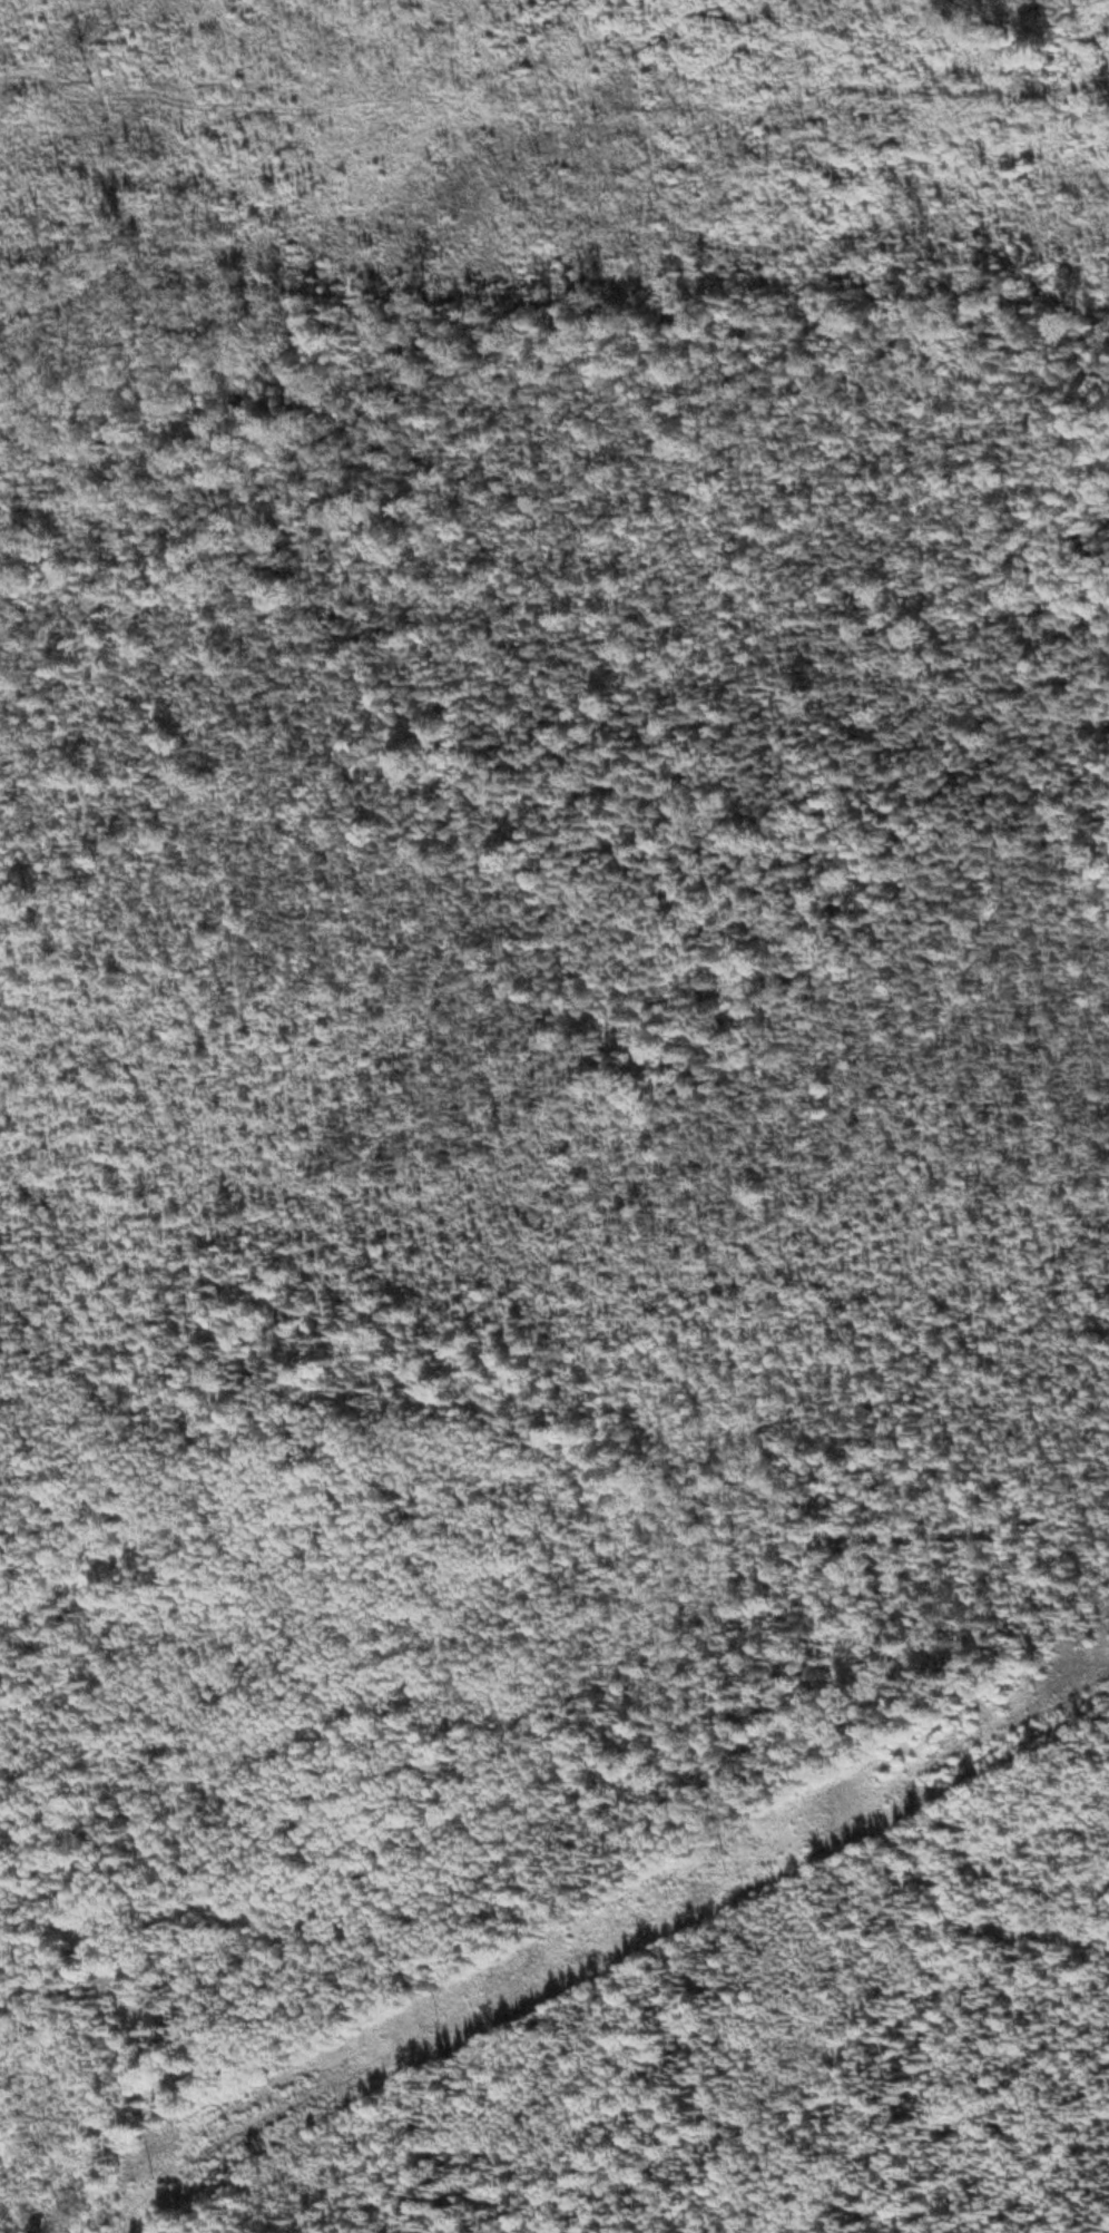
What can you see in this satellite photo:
road: (474, 1974)

